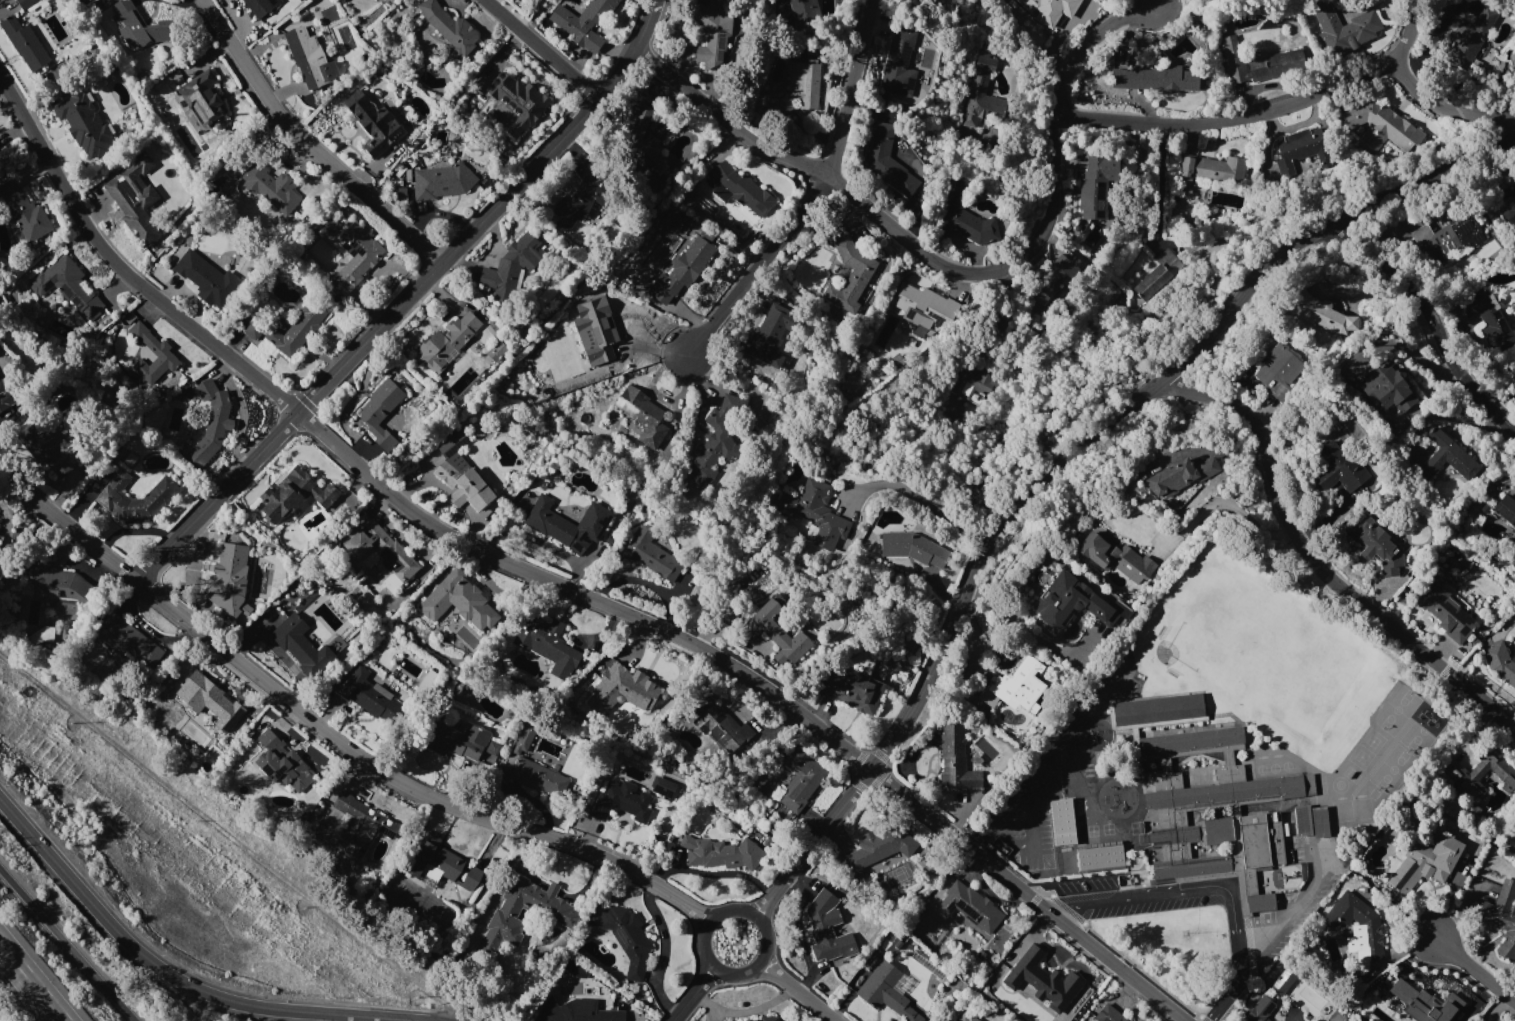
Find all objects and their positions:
building: (940, 0)
road: (1151, 1)
building: (25, 3)
building: (260, 6)
building: (803, 6)
building: (1050, 9)
building: (582, 22)
building: (140, 26)
building: (450, 27)
building: (1343, 28)
building: (1472, 36)
building: (716, 39)
building: (25, 42)
road: (1084, 43)
road: (540, 49)
building: (310, 57)
building: (1259, 62)
building: (899, 63)
building: (1156, 78)
building: (803, 86)
road: (851, 88)
road: (1417, 90)
building: (522, 93)
building: (982, 93)
building: (204, 99)
building: (373, 122)
building: (84, 123)
building: (1384, 127)
building: (641, 139)
road: (311, 140)
building: (1301, 150)
building: (882, 156)
building: (1212, 170)
road: (1158, 180)
building: (442, 181)
building: (1097, 185)
building: (271, 188)
building: (741, 188)
building: (590, 195)
building: (135, 199)
building: (25, 213)
building: (1510, 215)
building: (966, 217)
building: (1445, 235)
road: (1034, 245)
building: (354, 257)
road: (758, 264)
building: (511, 267)
building: (681, 270)
building: (1157, 274)
building: (850, 276)
building: (204, 277)
building: (1051, 278)
building: (68, 287)
road: (406, 298)
building: (922, 303)
building: (1319, 312)
road: (1432, 319)
building: (1489, 321)
building: (599, 328)
building: (287, 329)
building: (448, 341)
building: (762, 346)
building: (497, 351)
building: (163, 353)
building: (1279, 371)
building: (971, 381)
building: (1388, 388)
building: (5, 395)
building: (381, 413)
building: (643, 415)
building: (211, 422)
building: (716, 441)
building: (452, 442)
building: (45, 449)
building: (1447, 456)
road: (1065, 458)
building: (1338, 468)
building: (1180, 475)
building: (464, 485)
building: (133, 498)
road: (916, 498)
building: (299, 501)
building: (1506, 508)
building: (814, 512)
building: (568, 524)
building: (1514, 529)
building: (1376, 545)
building: (912, 547)
building: (382, 555)
building: (654, 555)
building: (1114, 557)
road: (1318, 560)
building: (231, 580)
road: (558, 583)
building: (63, 589)
building: (458, 602)
building: (1070, 602)
building: (1445, 610)
building: (775, 631)
building: (132, 639)
building: (547, 643)
building: (301, 645)
building: (1501, 662)
building: (1020, 685)
building: (624, 689)
building: (854, 690)
building: (369, 695)
building: (216, 702)
building: (1157, 711)
building: (720, 726)
road: (332, 737)
building: (454, 738)
building: (520, 743)
building: (956, 759)
building: (282, 761)
building: (1479, 773)
building: (536, 777)
road: (1033, 778)
building: (802, 780)
building: (662, 786)
building: (1203, 798)
building: (620, 801)
road: (992, 820)
building: (1061, 821)
building: (1311, 821)
building: (362, 827)
building: (1261, 839)
building: (881, 844)
road: (1034, 846)
building: (721, 853)
building: (1098, 855)
building: (1064, 856)
building: (1426, 861)
building: (442, 864)
road: (1154, 895)
building: (1260, 902)
building: (969, 905)
road: (1063, 909)
building: (559, 913)
building: (1502, 917)
road: (711, 922)
building: (1358, 927)
building: (828, 928)
building: (627, 938)
road: (69, 943)
road: (1239, 962)
road: (1476, 975)
road: (178, 979)
building: (1045, 981)
road: (30, 983)
building: (1297, 988)
road: (796, 991)
building: (887, 992)
road: (694, 994)
building: (1426, 999)
building: (1260, 1010)
building: (578, 1011)
building: (1109, 1014)
building: (967, 1017)
building: (765, 1018)

